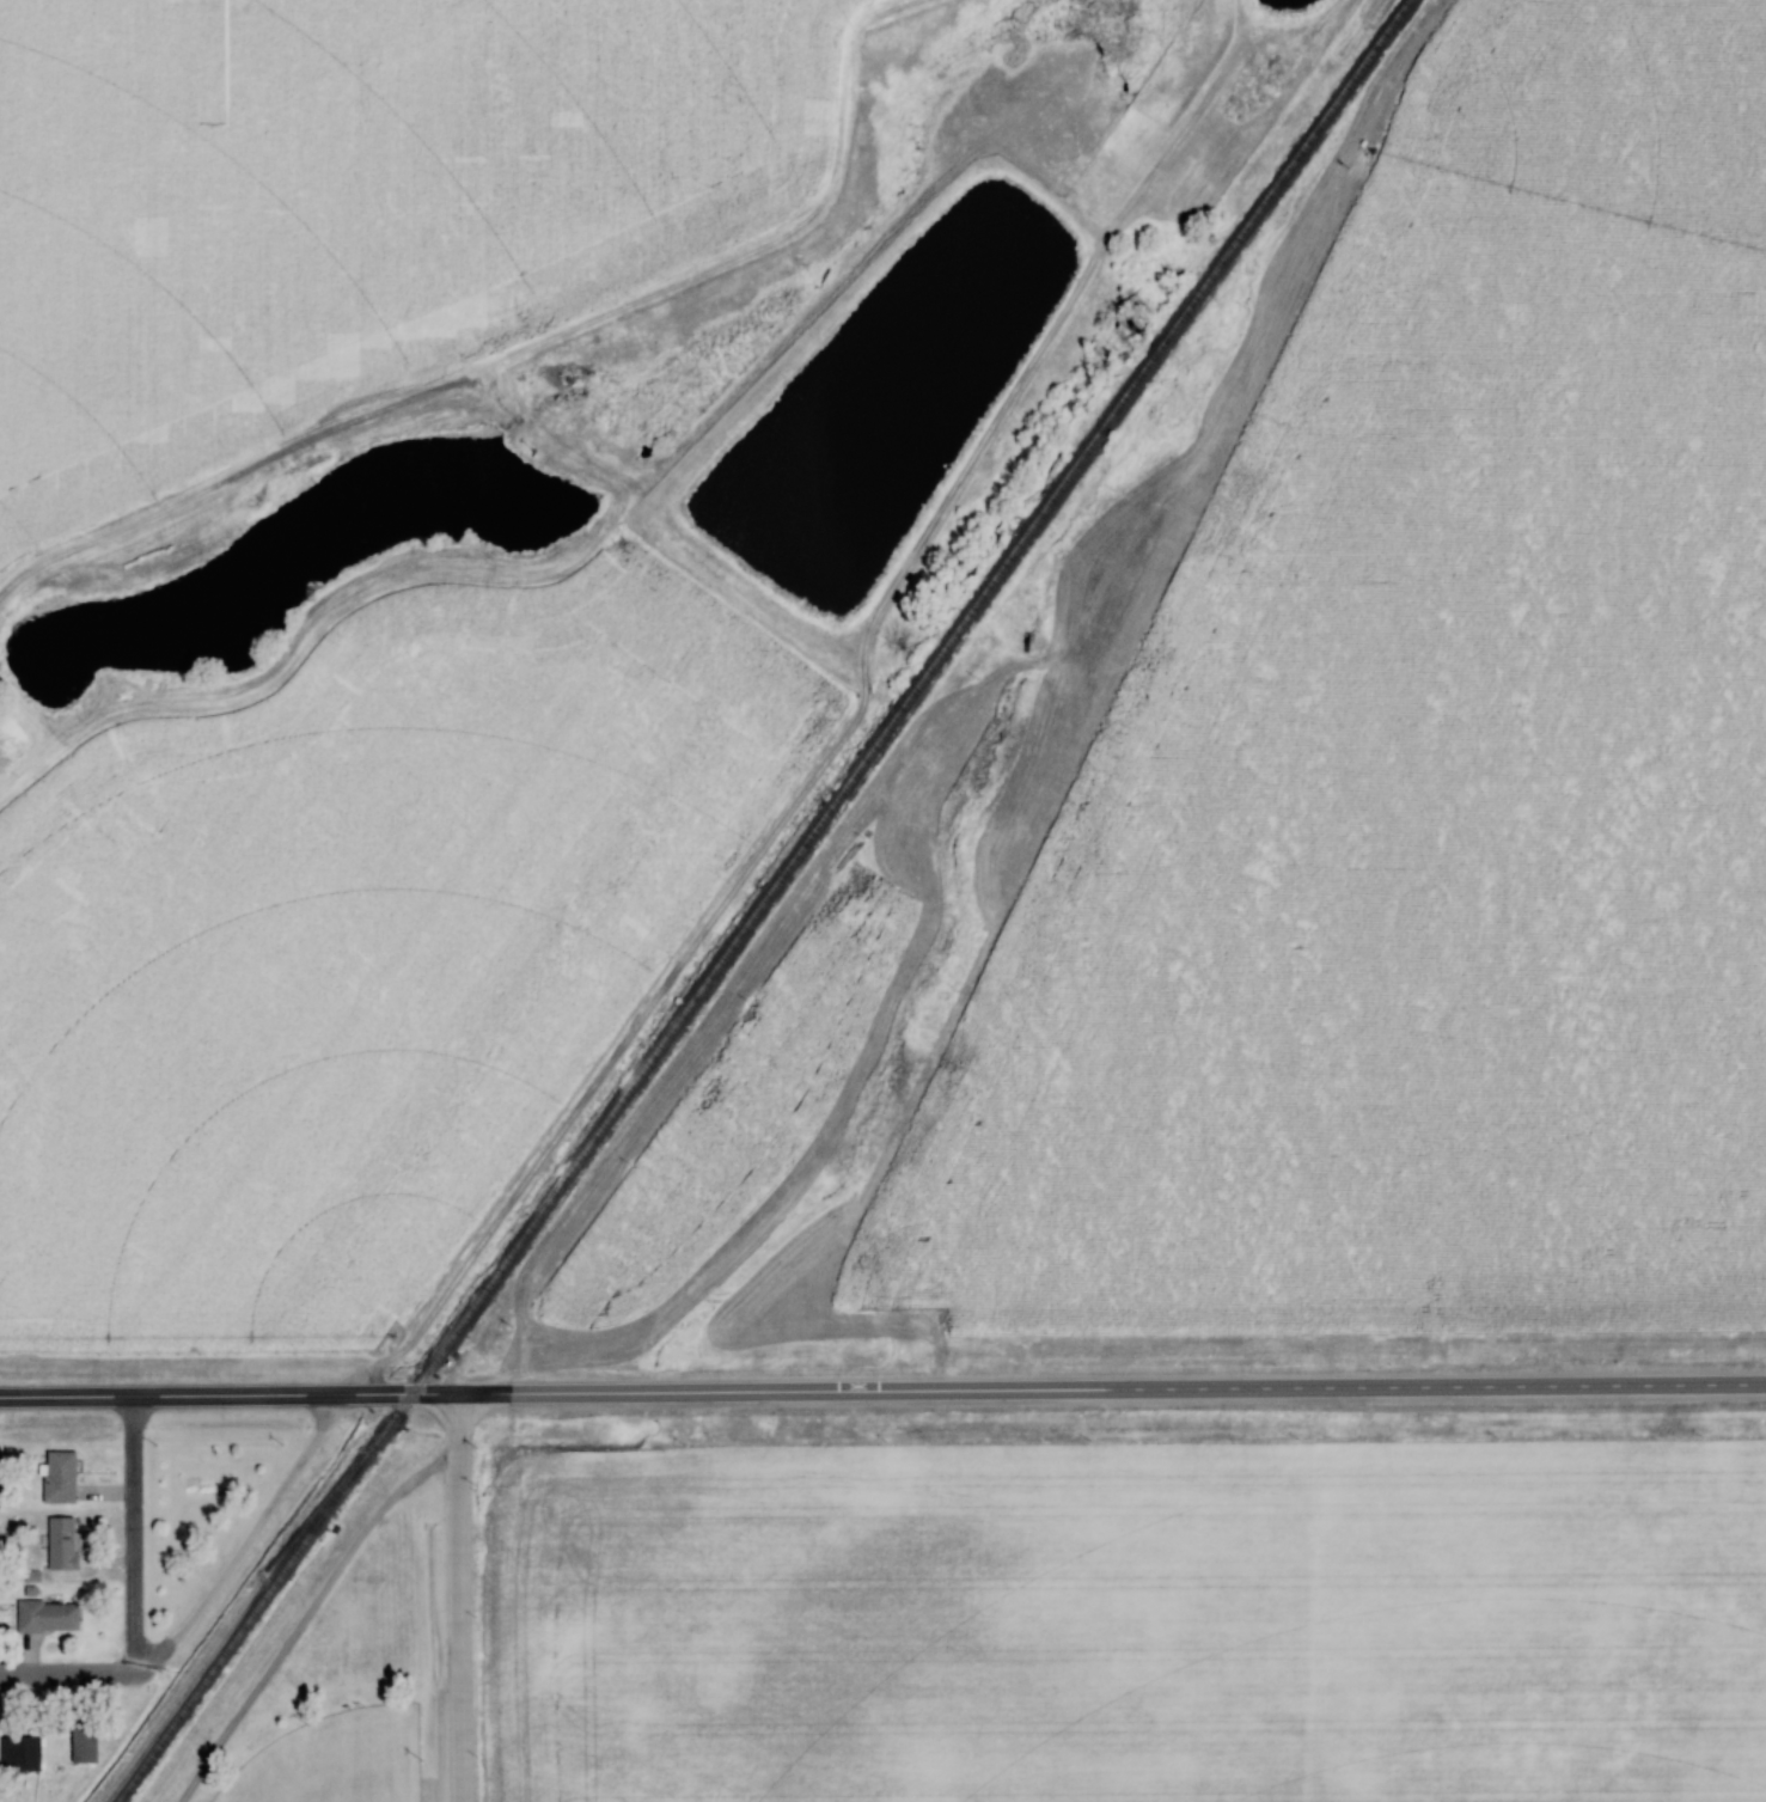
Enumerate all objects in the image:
railway: (762, 902)
road: (882, 1392)
road: (135, 1472)
building: (63, 1476)
building: (65, 1541)
road: (248, 1544)
road: (462, 1598)
road: (310, 1609)
road: (134, 1611)
building: (50, 1614)
crop: (1137, 1623)
road: (67, 1672)
park: (356, 1691)
building: (87, 1742)
building: (24, 1751)
park: (337, 1758)

